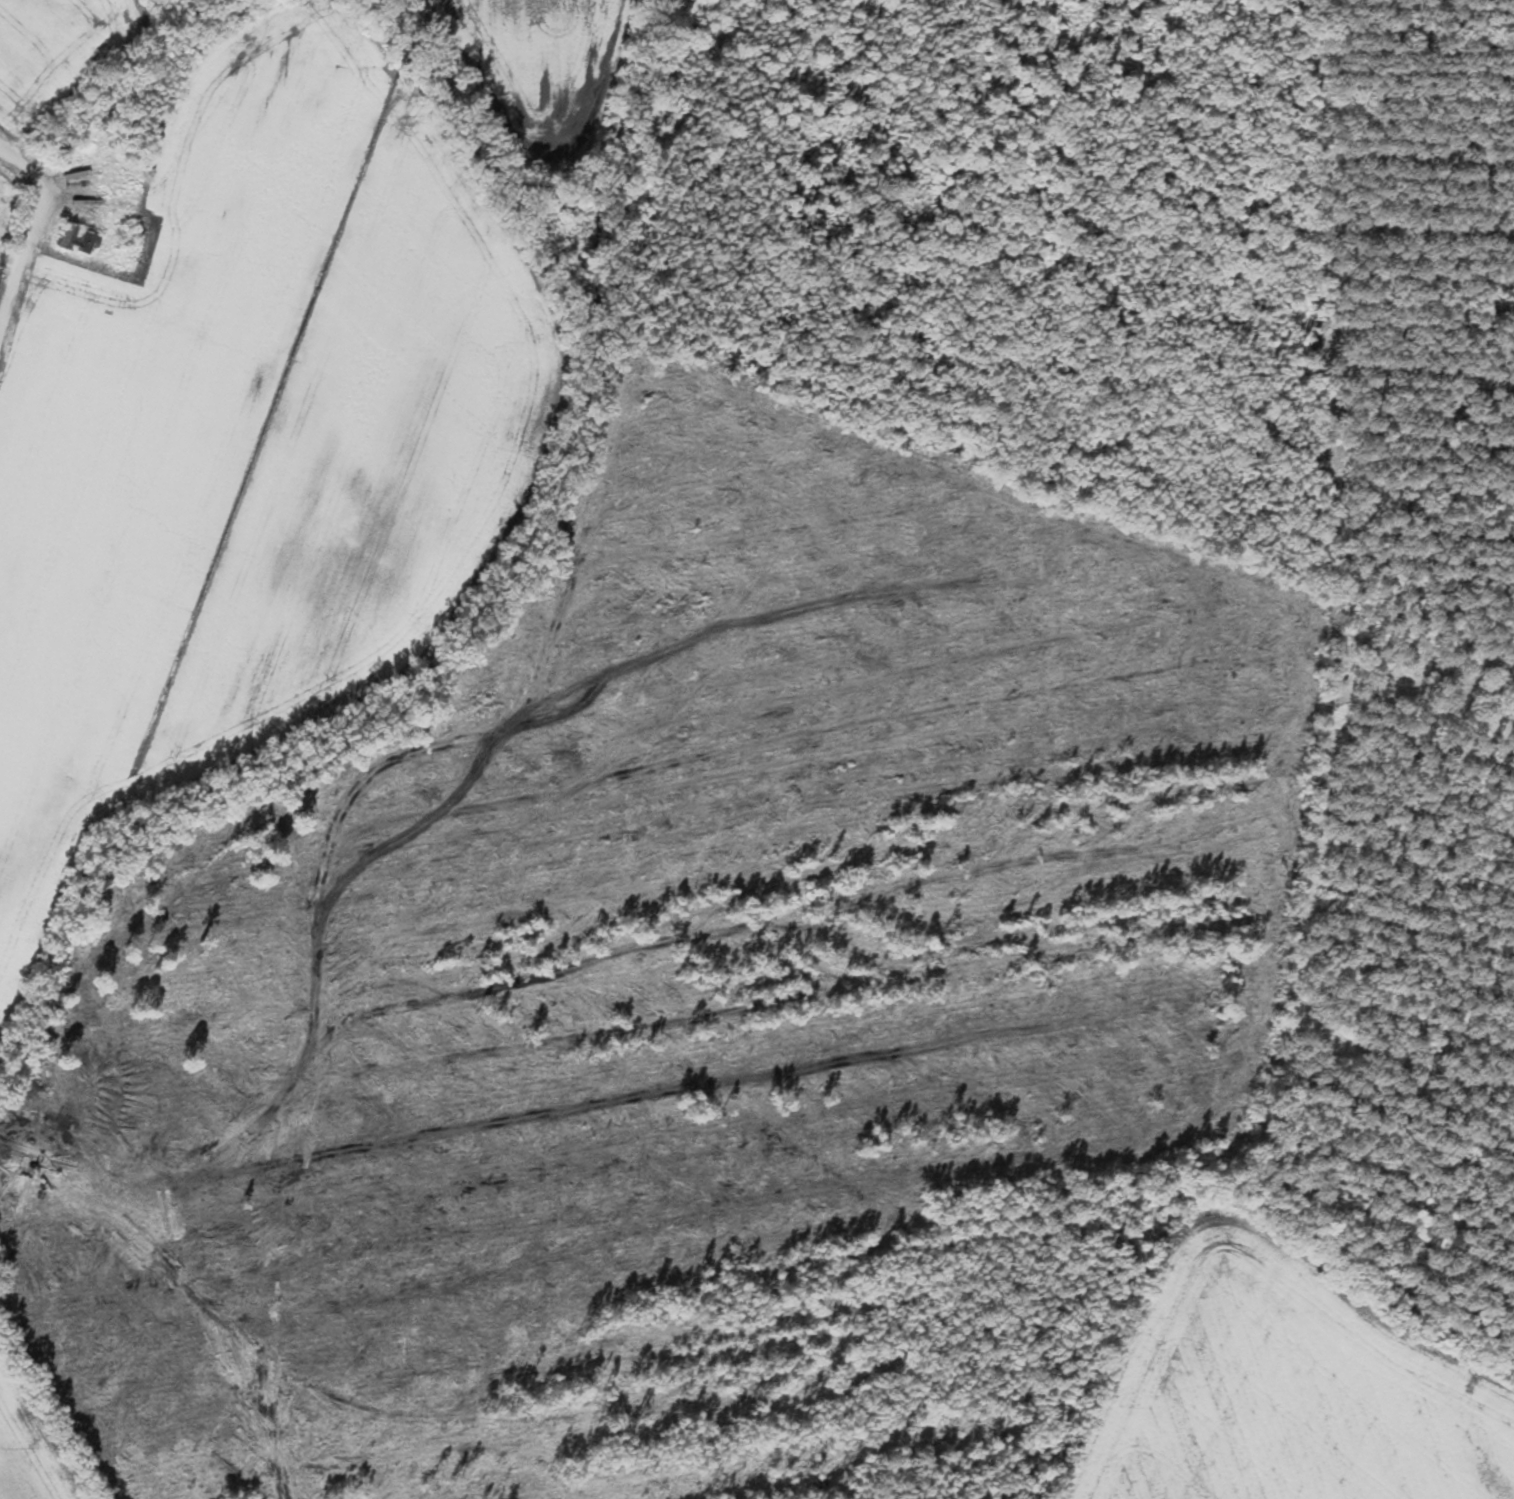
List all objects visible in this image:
road: (13, 158)
building: (77, 239)

